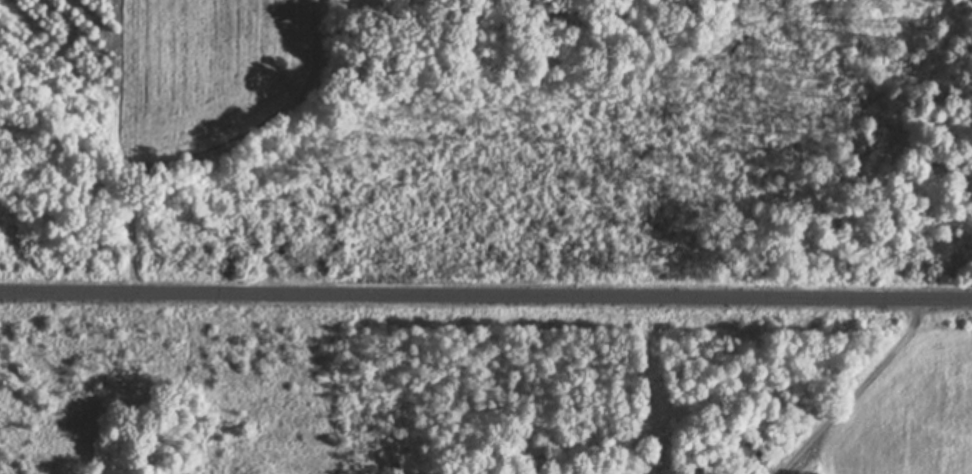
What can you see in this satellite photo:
road: (486, 292)

